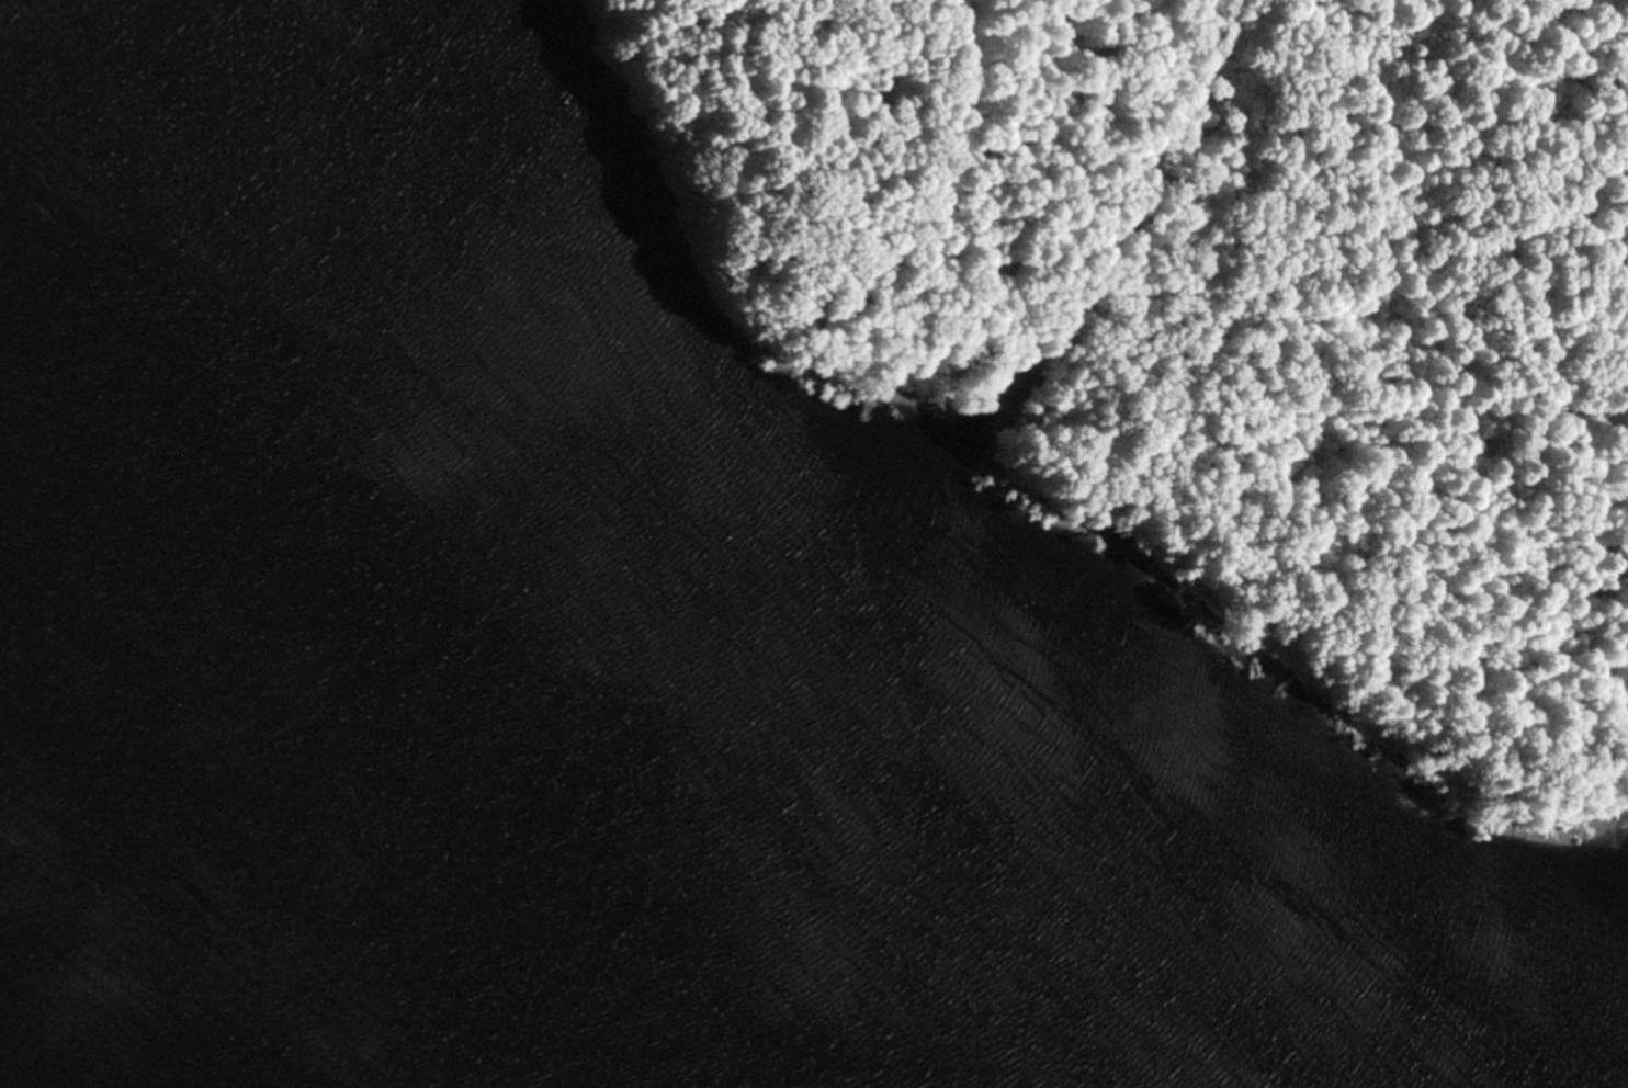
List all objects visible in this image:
river: (430, 563)

